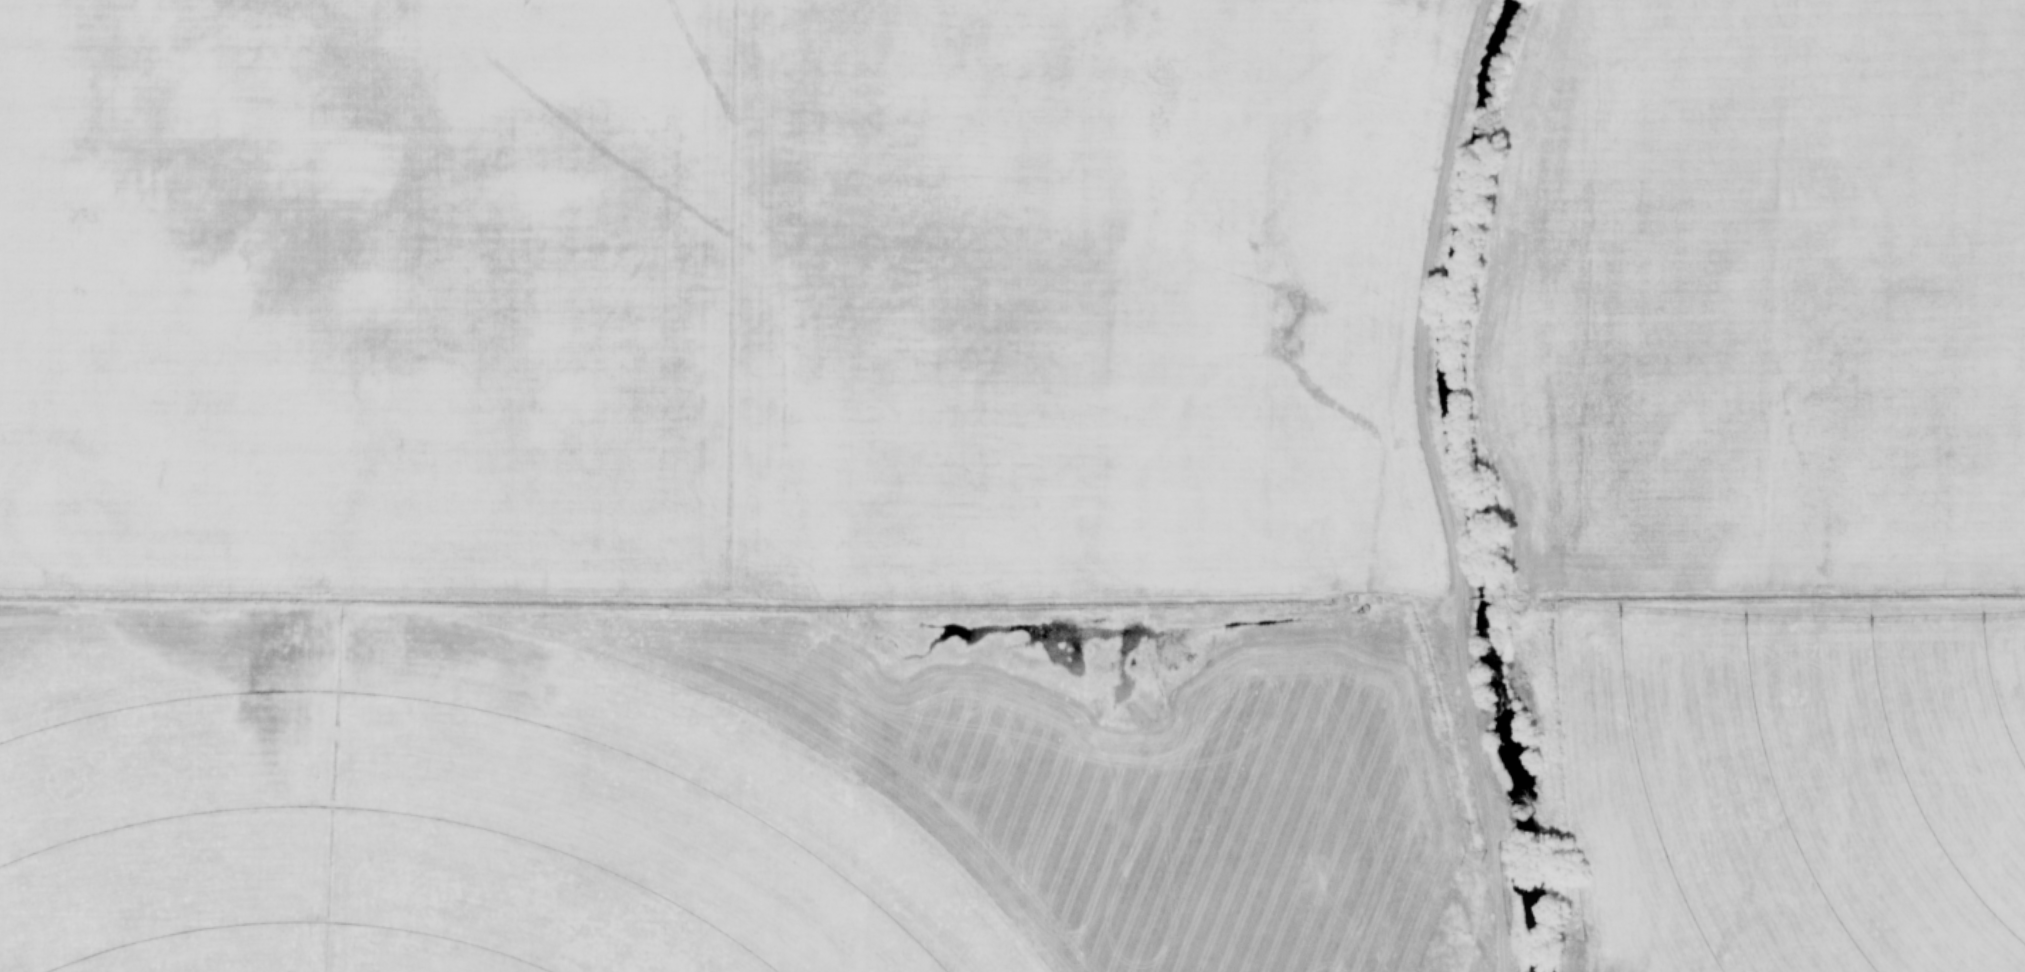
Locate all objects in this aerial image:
river: (1465, 485)
crop: (1116, 768)
crop: (434, 813)

